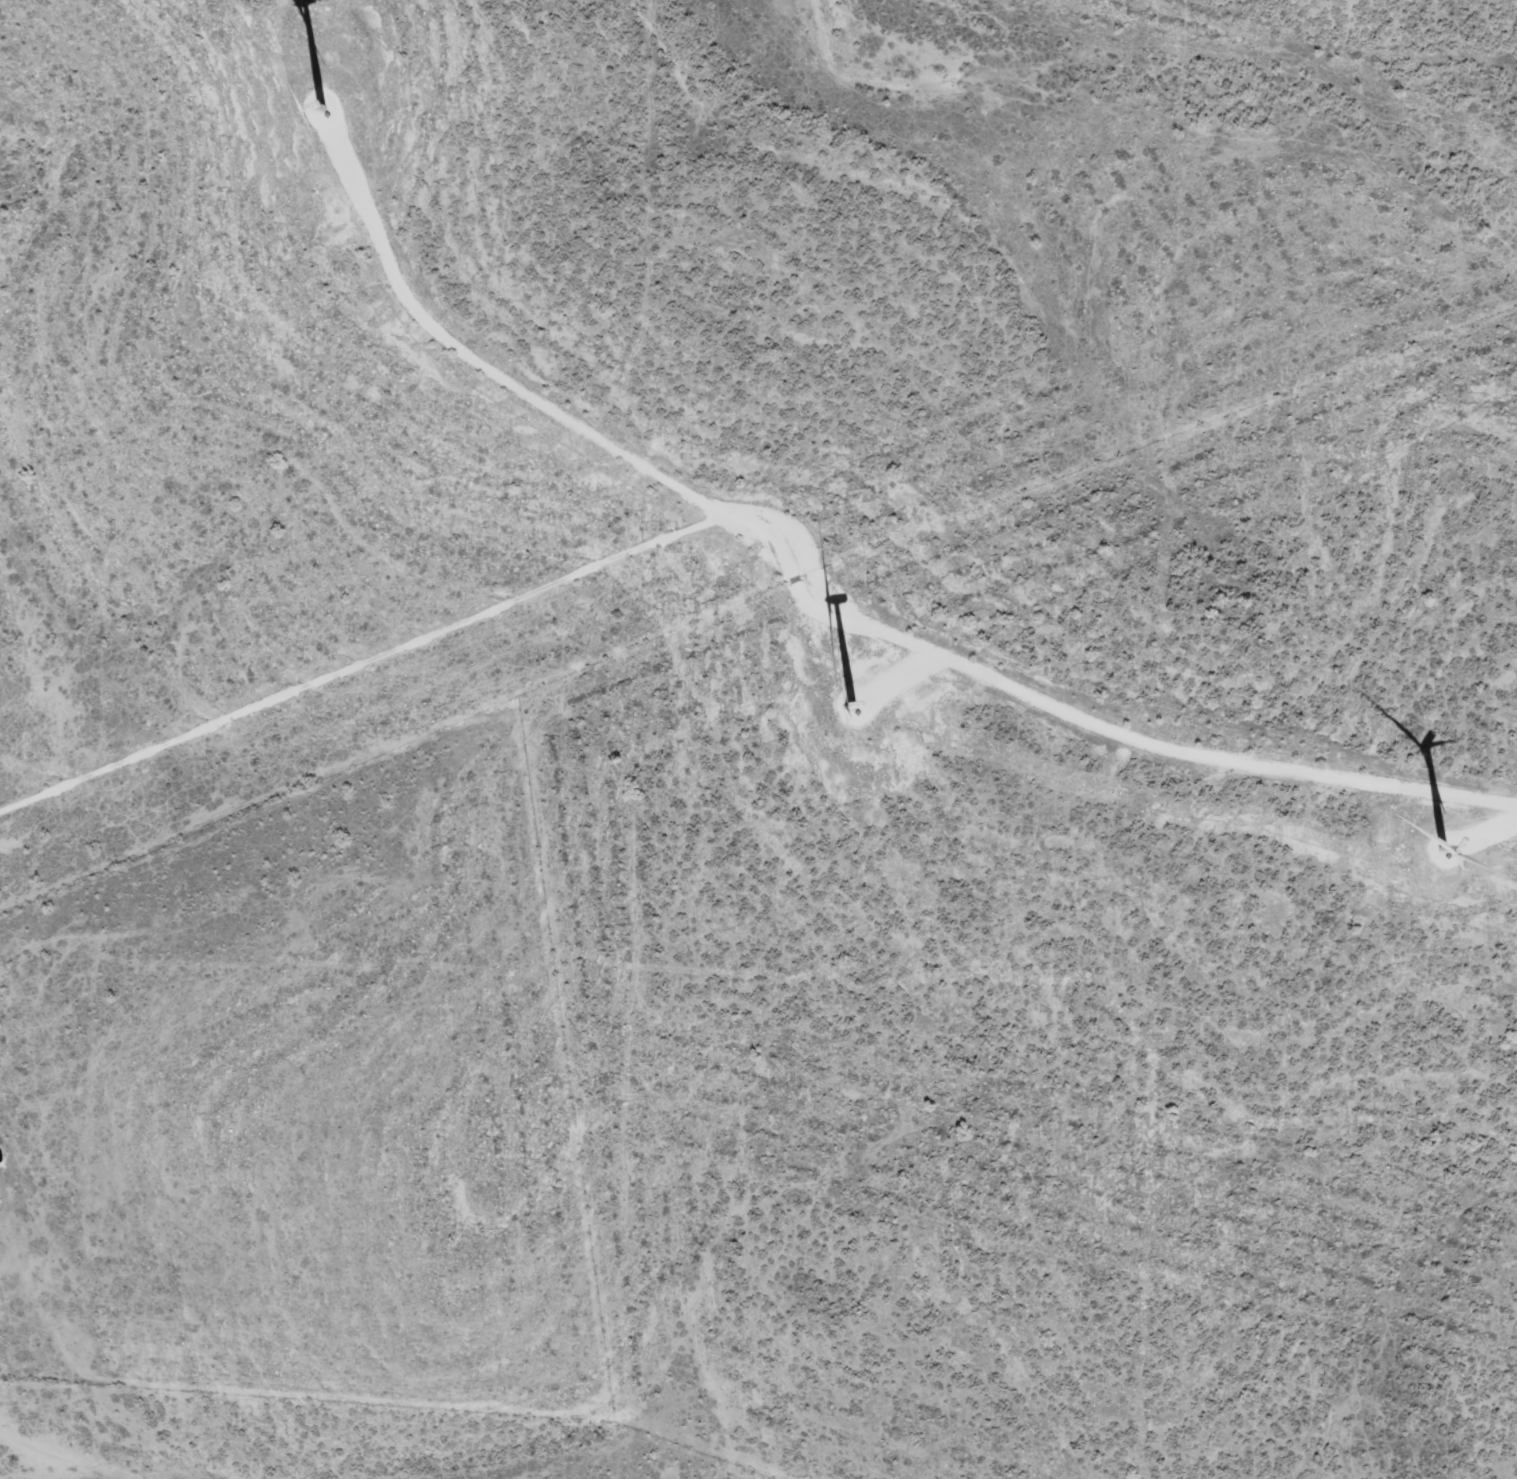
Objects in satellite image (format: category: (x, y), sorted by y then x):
wind turbine: (321, 110)
wind turbine: (855, 704)
wind turbine: (1438, 861)
road: (77, 1453)

